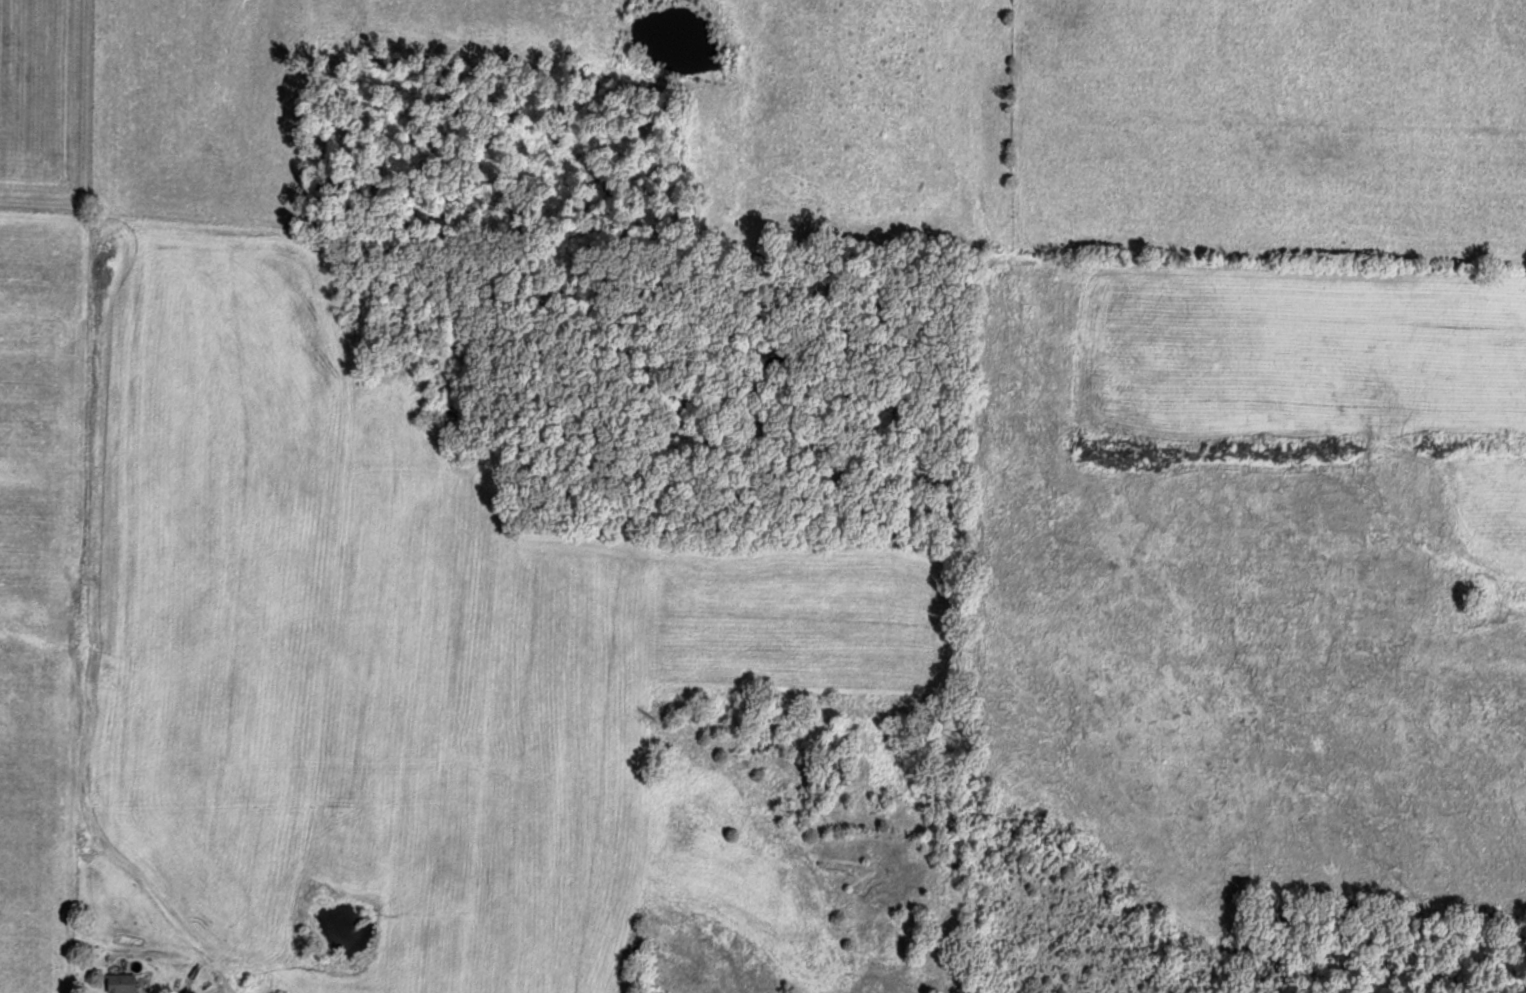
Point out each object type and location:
building: (128, 983)

